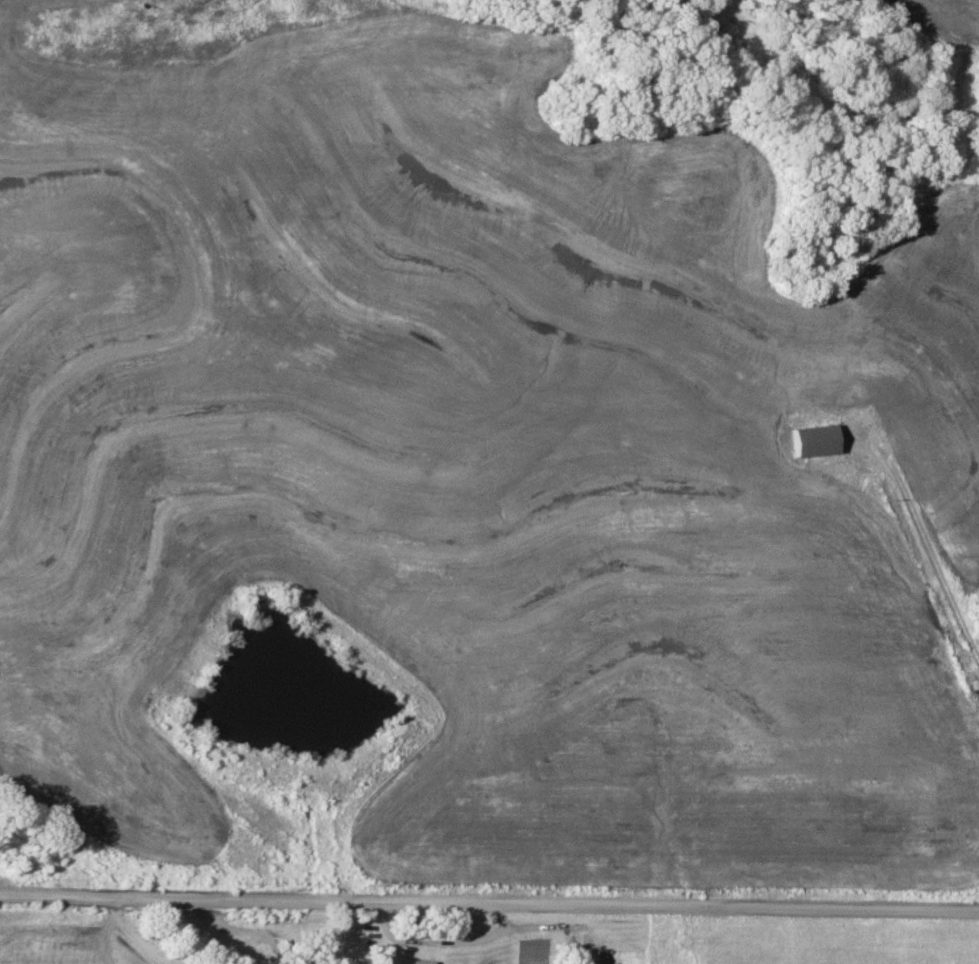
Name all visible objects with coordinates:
building: (816, 441)
road: (926, 533)
road: (489, 905)
road: (87, 932)
road: (135, 936)
building: (594, 956)
building: (407, 960)

